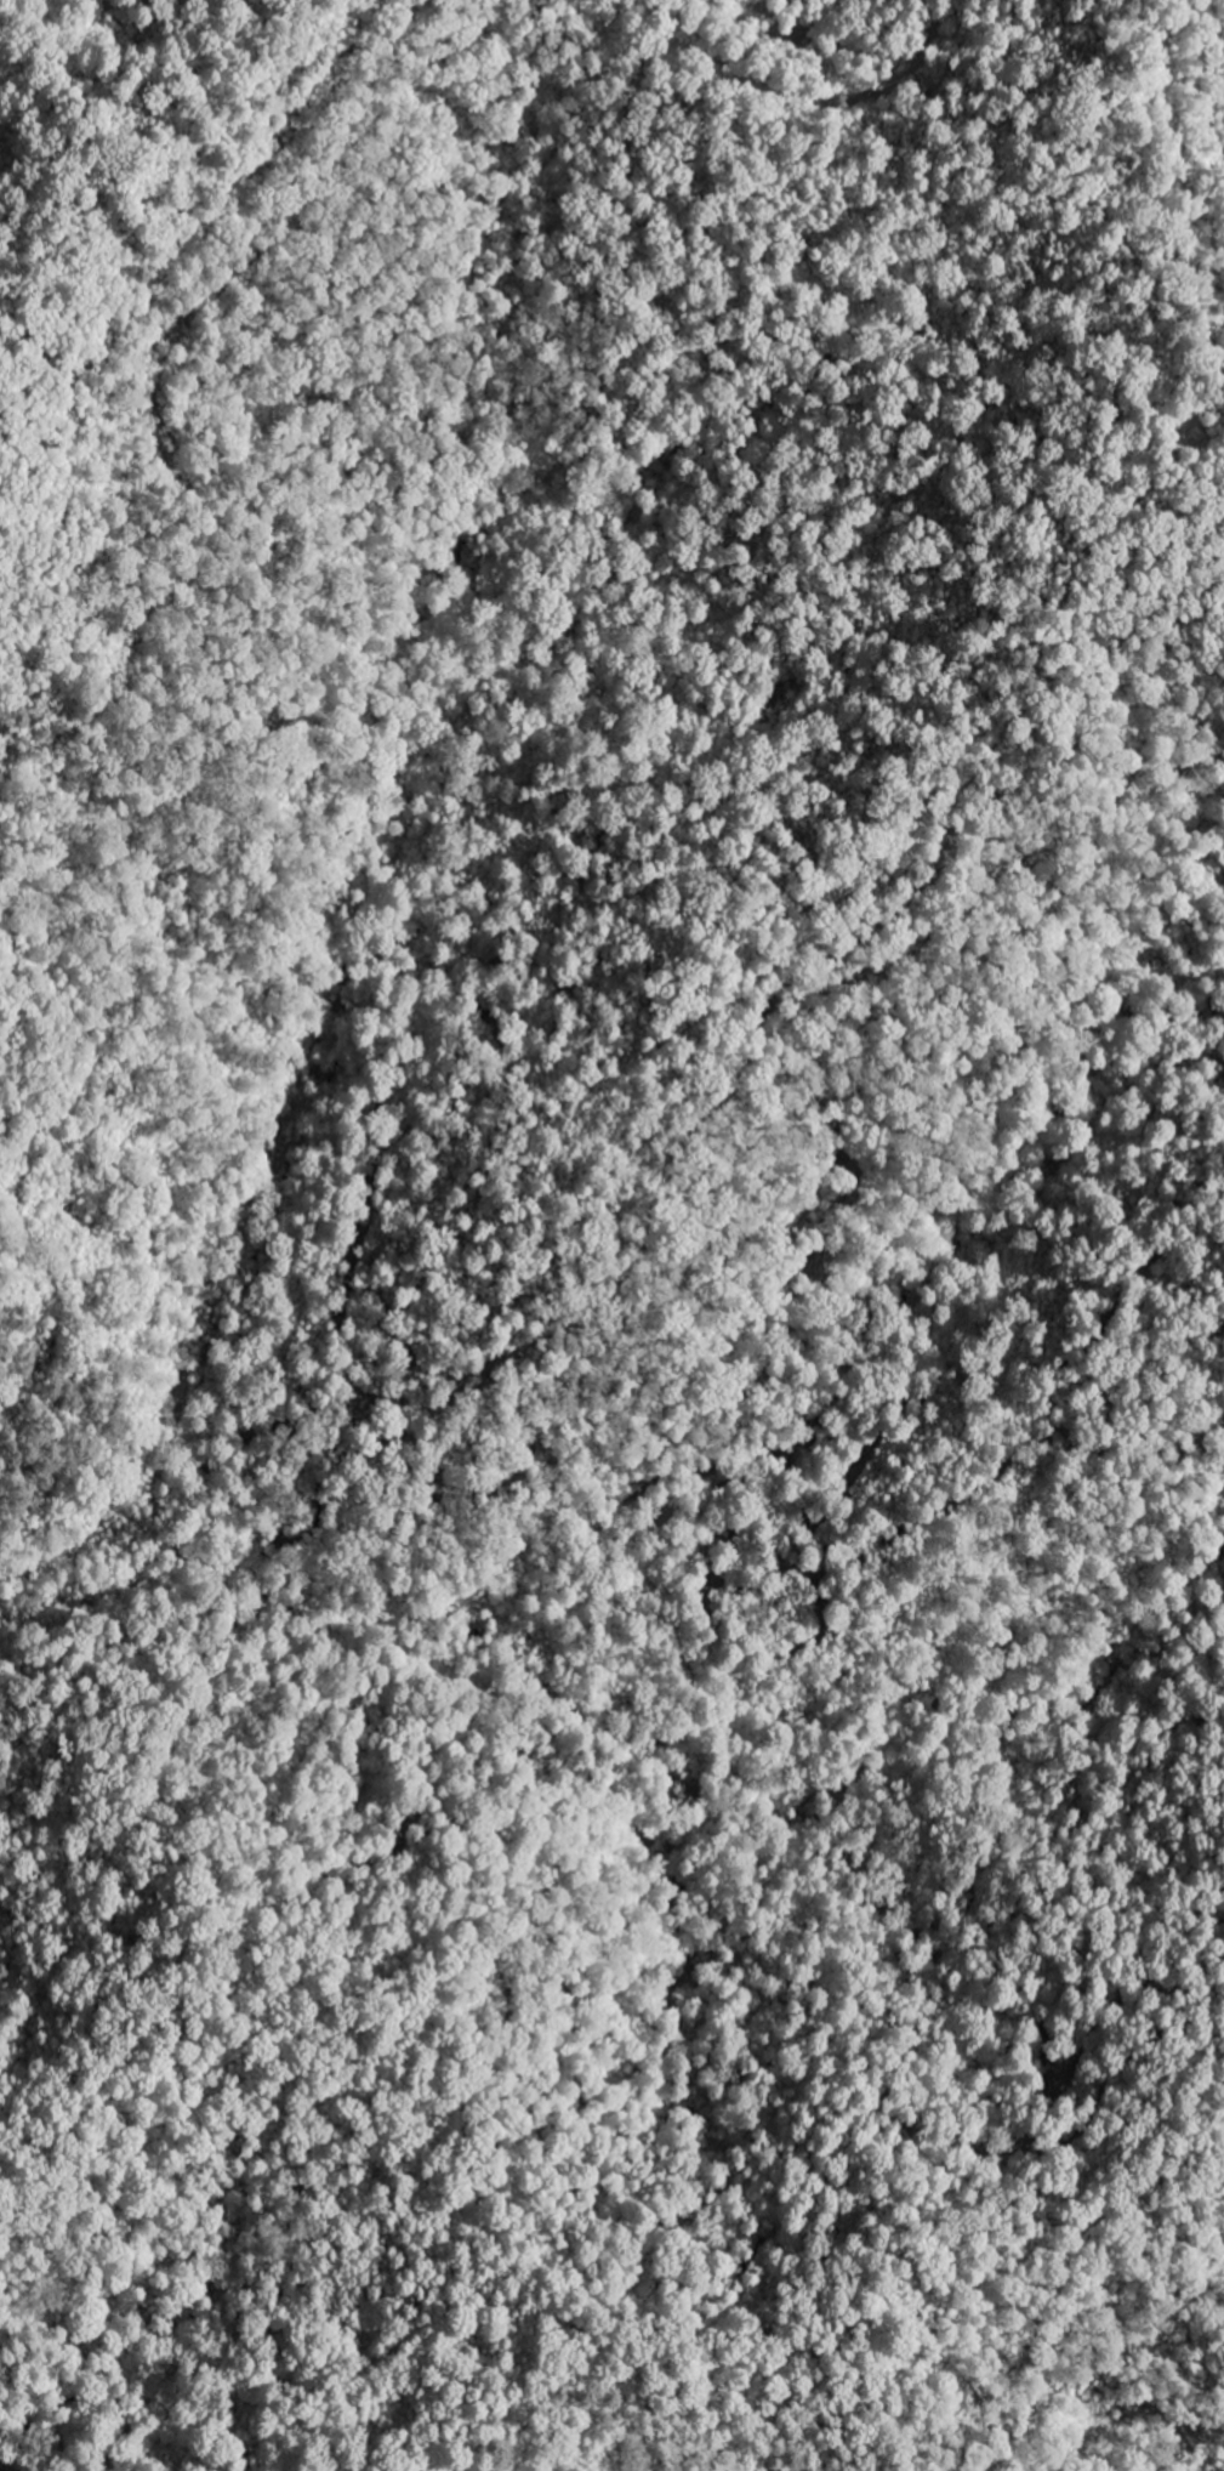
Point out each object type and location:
road: (89, 1993)

